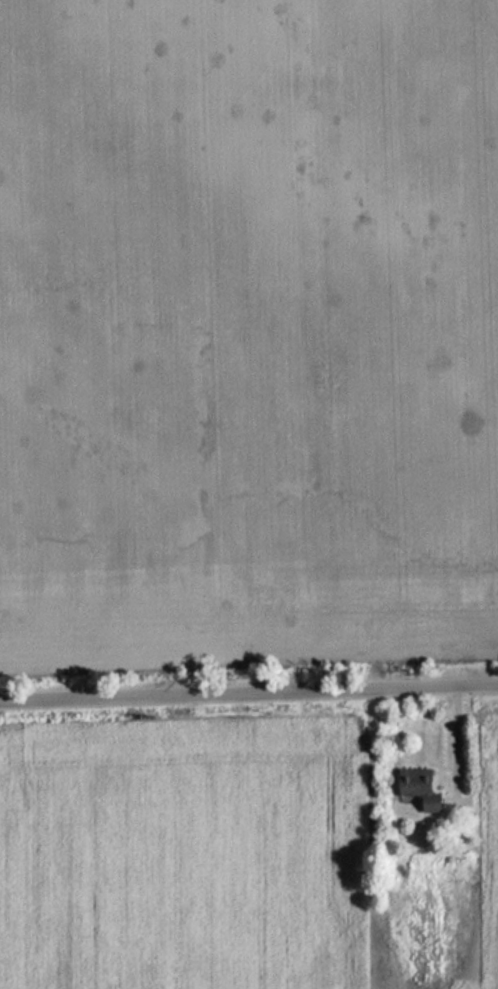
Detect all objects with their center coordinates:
road: (249, 684)
building: (416, 787)

